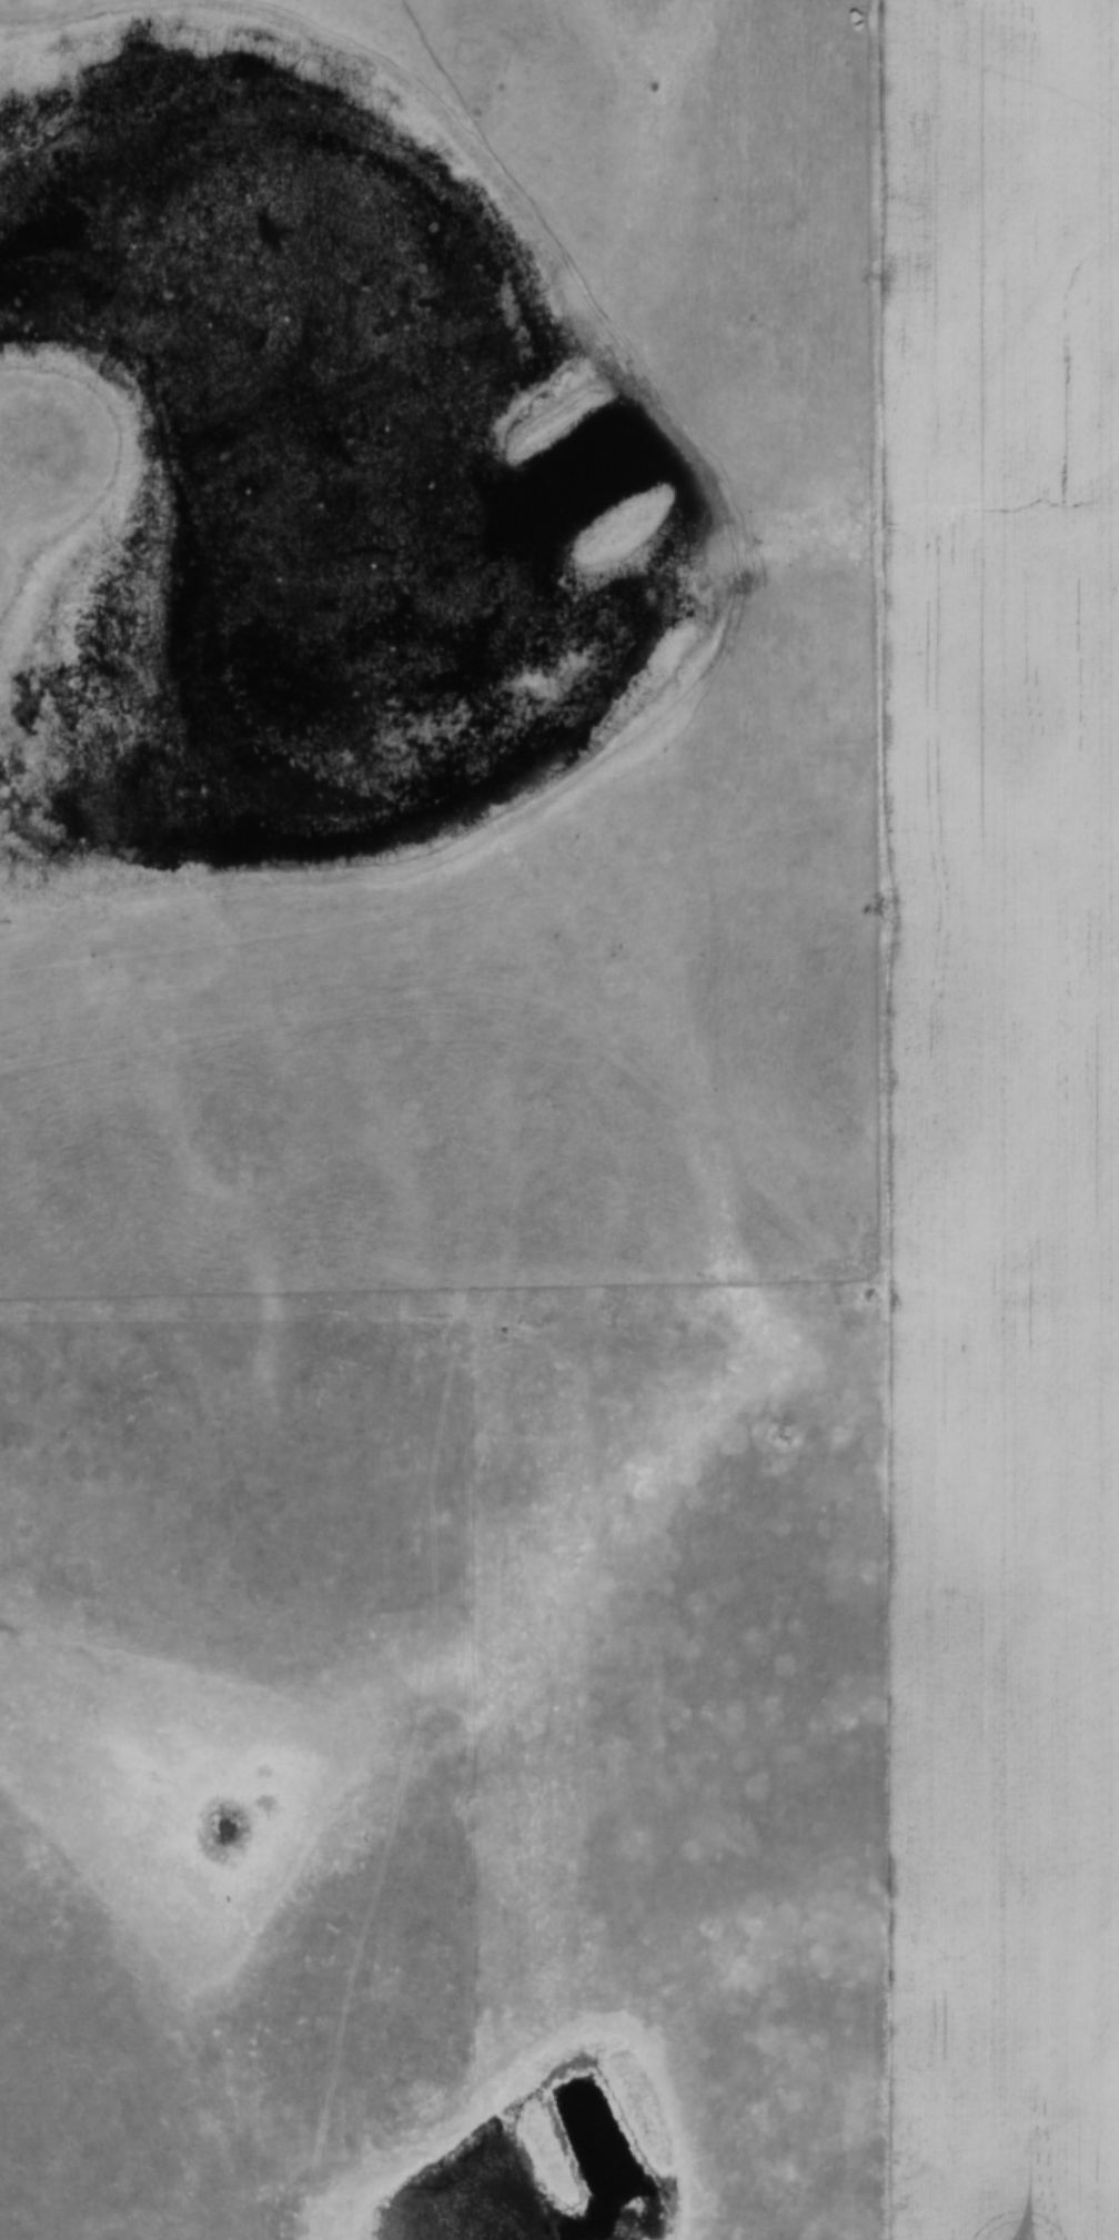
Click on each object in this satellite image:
road: (1006, 1283)

